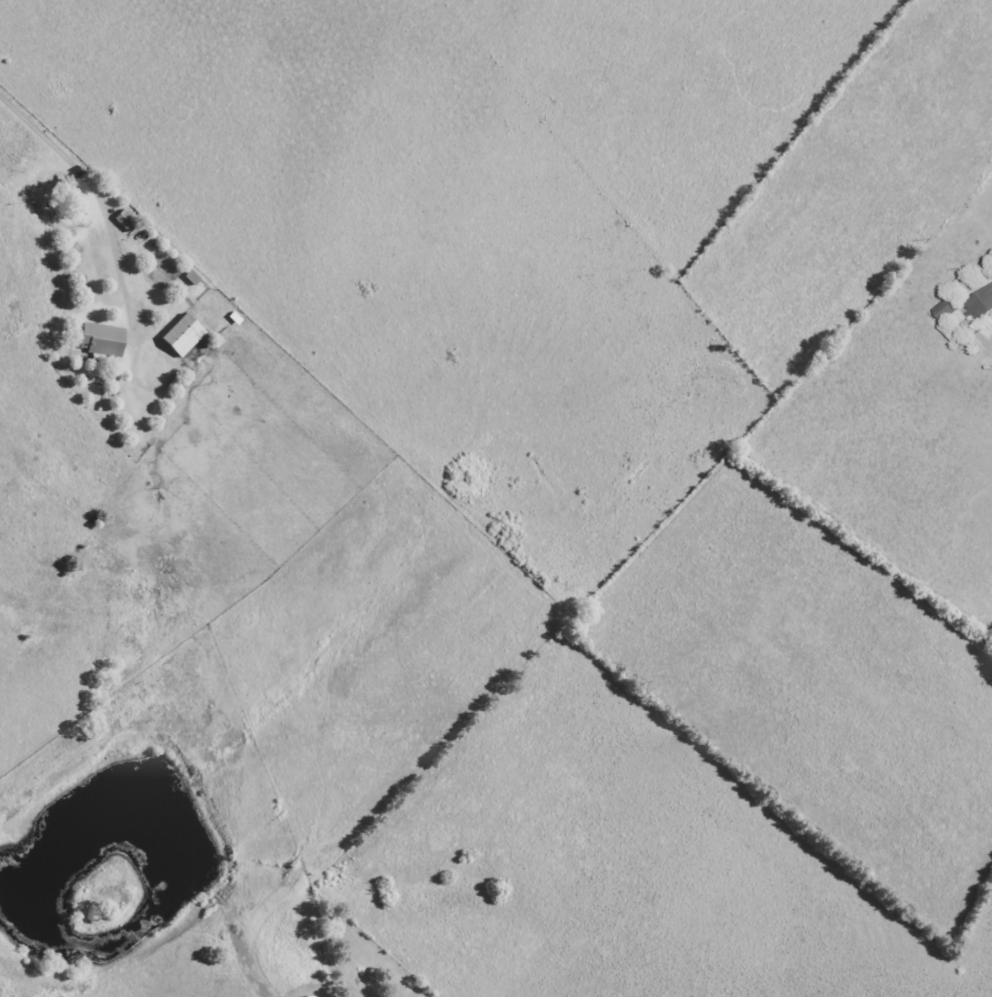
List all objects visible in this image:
road: (100, 195)
building: (126, 221)
building: (982, 306)
building: (950, 311)
building: (184, 336)
building: (103, 341)

